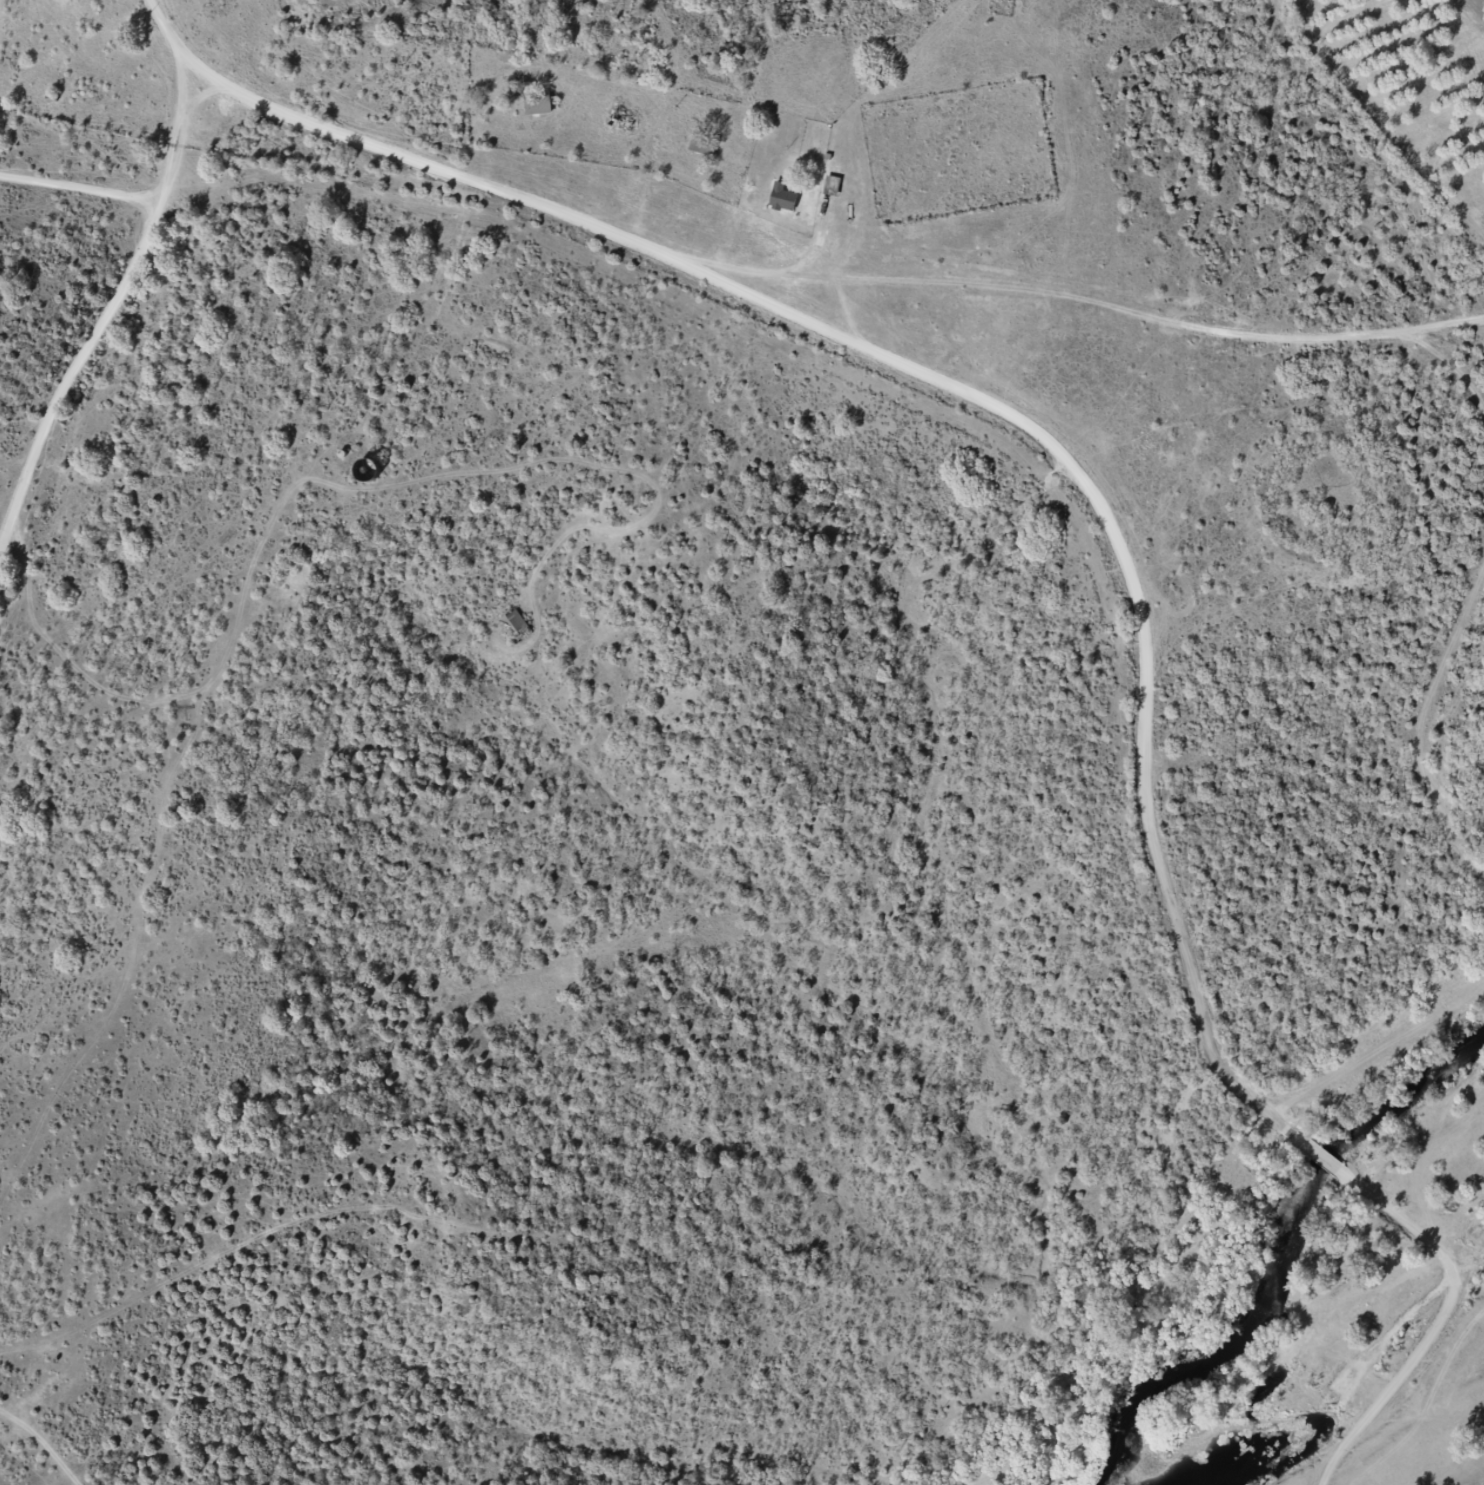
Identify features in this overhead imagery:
building: (537, 106)
building: (619, 120)
building: (701, 147)
building: (782, 200)
road: (86, 221)
road: (1132, 301)
road: (112, 385)
road: (976, 436)
building: (514, 628)
river: (1278, 1251)
road: (1427, 1275)
road: (1432, 1419)

